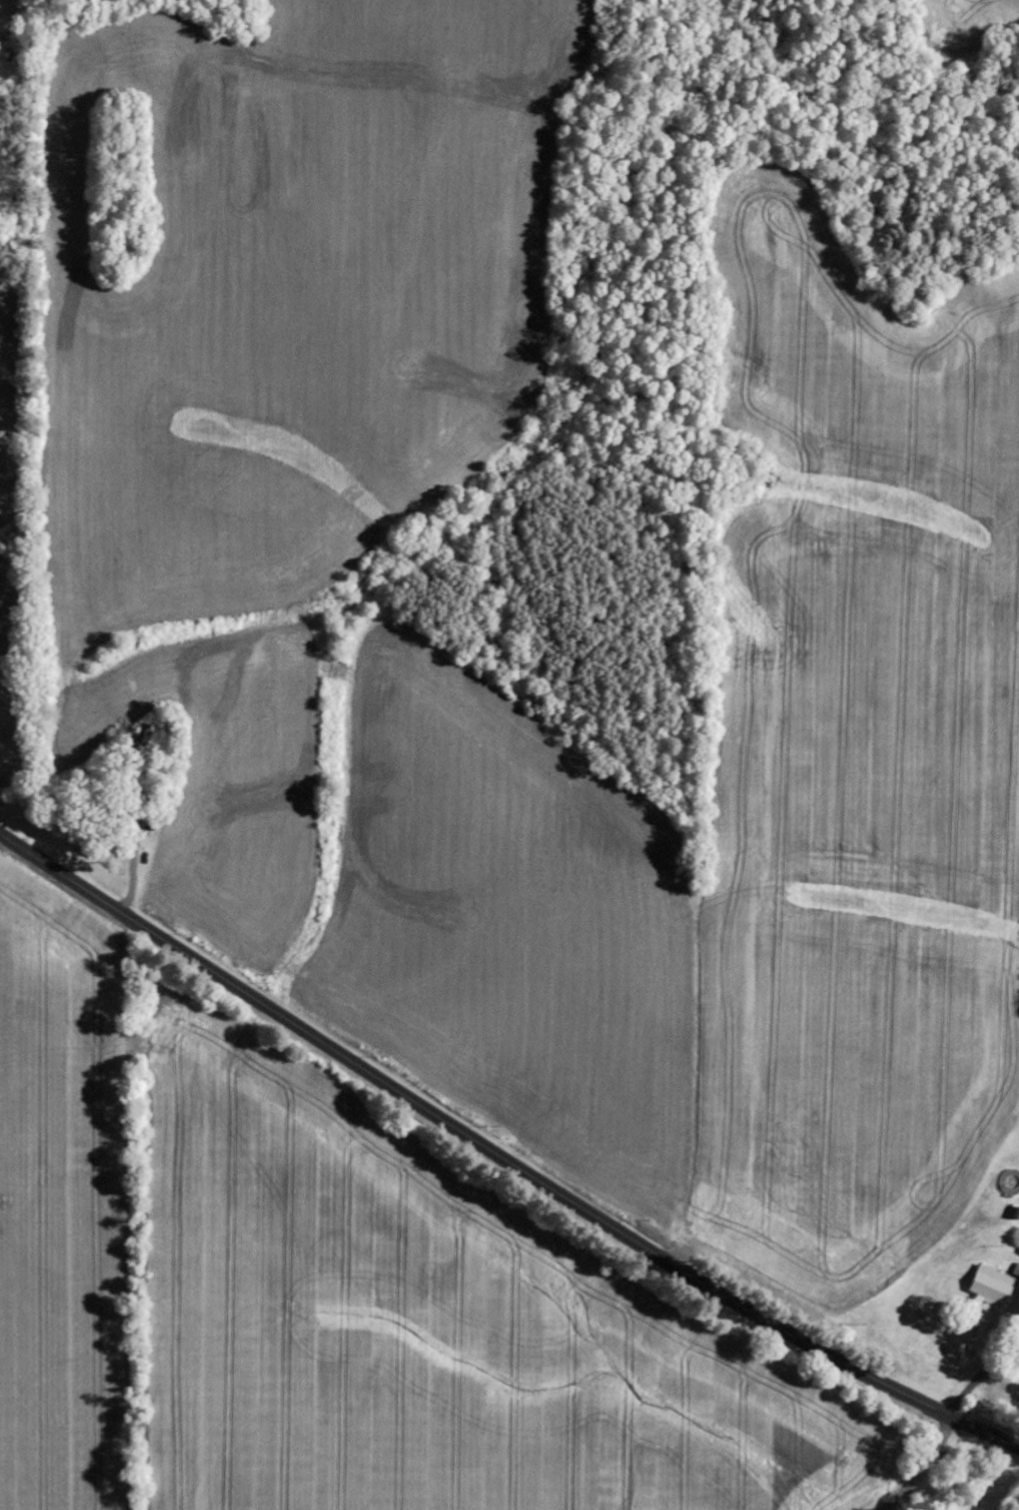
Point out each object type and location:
road: (499, 1155)
building: (1015, 1214)
building: (1018, 1252)
building: (989, 1286)
road: (921, 1466)

